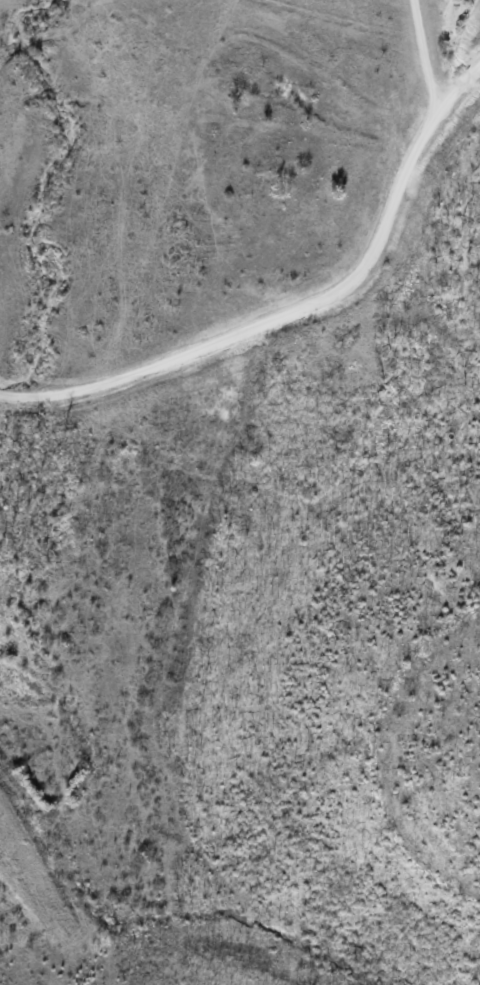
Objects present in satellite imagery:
road: (419, 57)
road: (299, 308)

